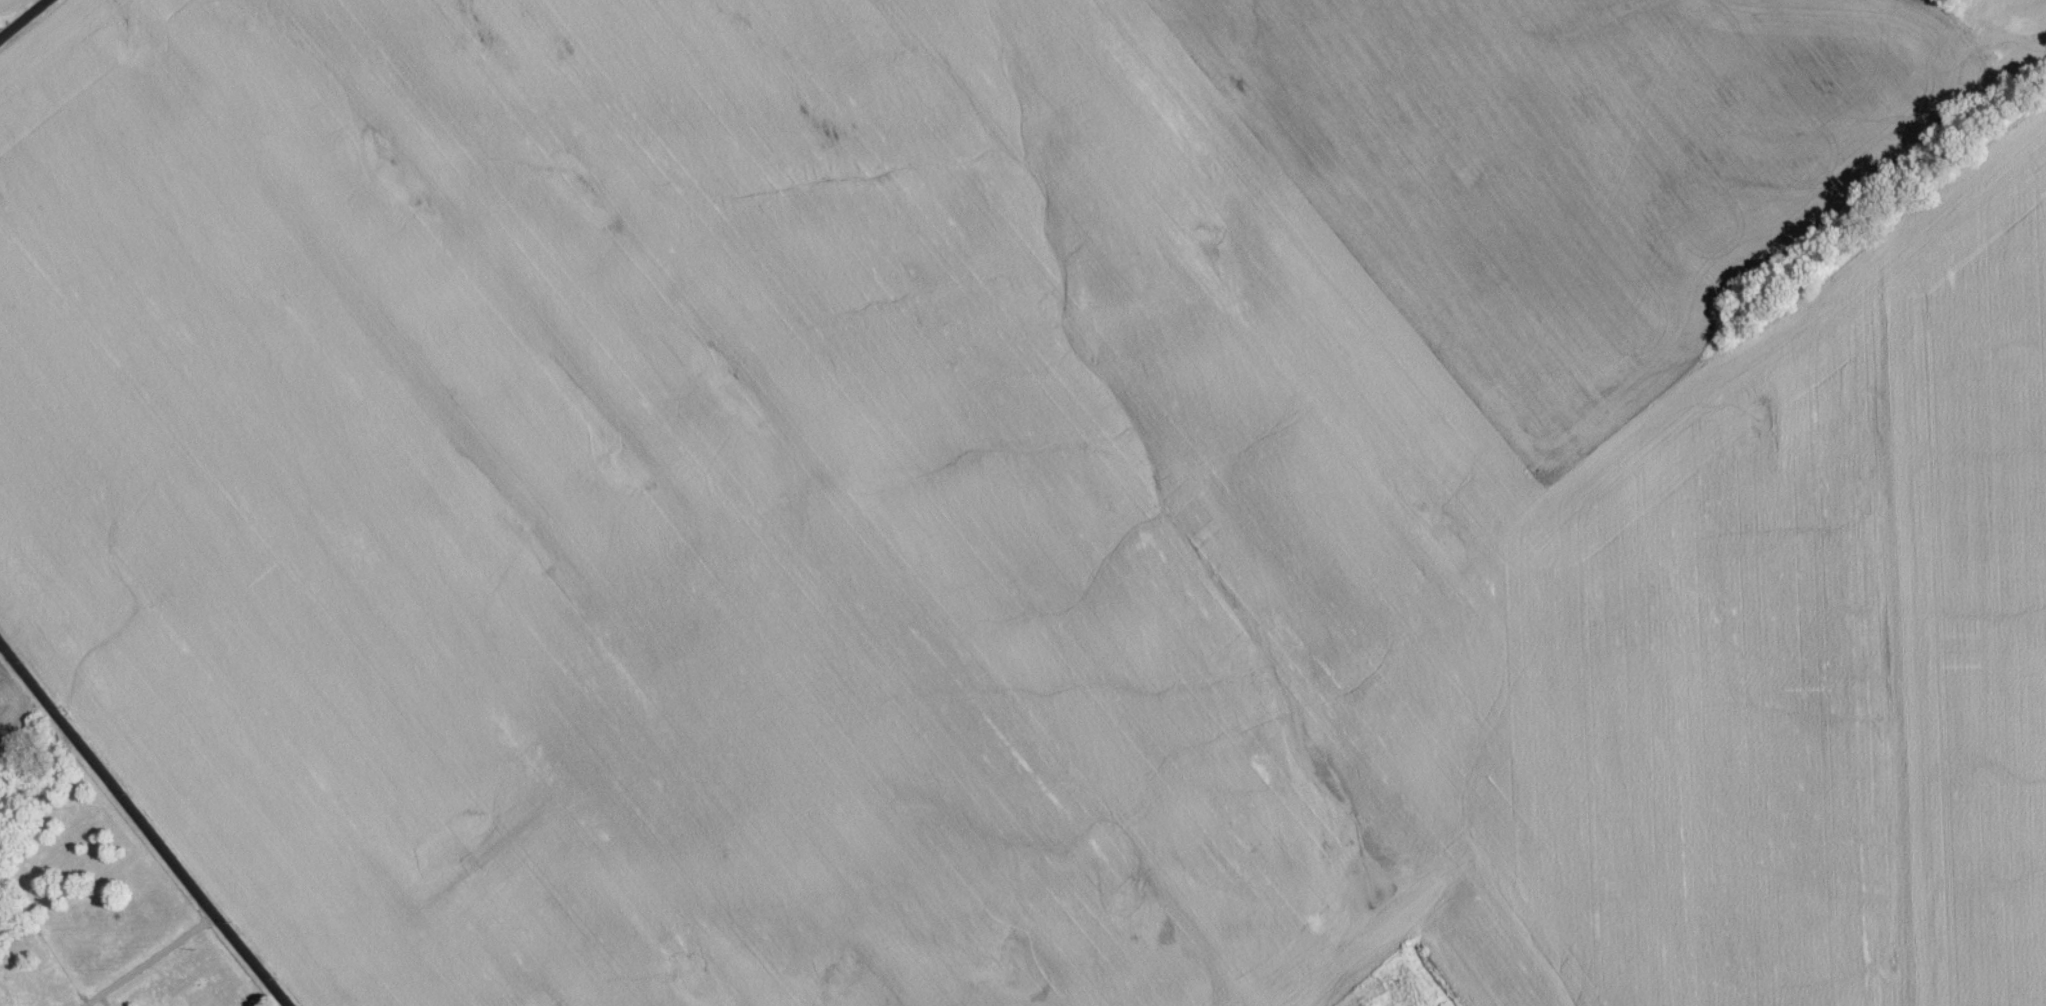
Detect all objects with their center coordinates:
road: (36, 30)
road: (139, 833)
road: (146, 963)

